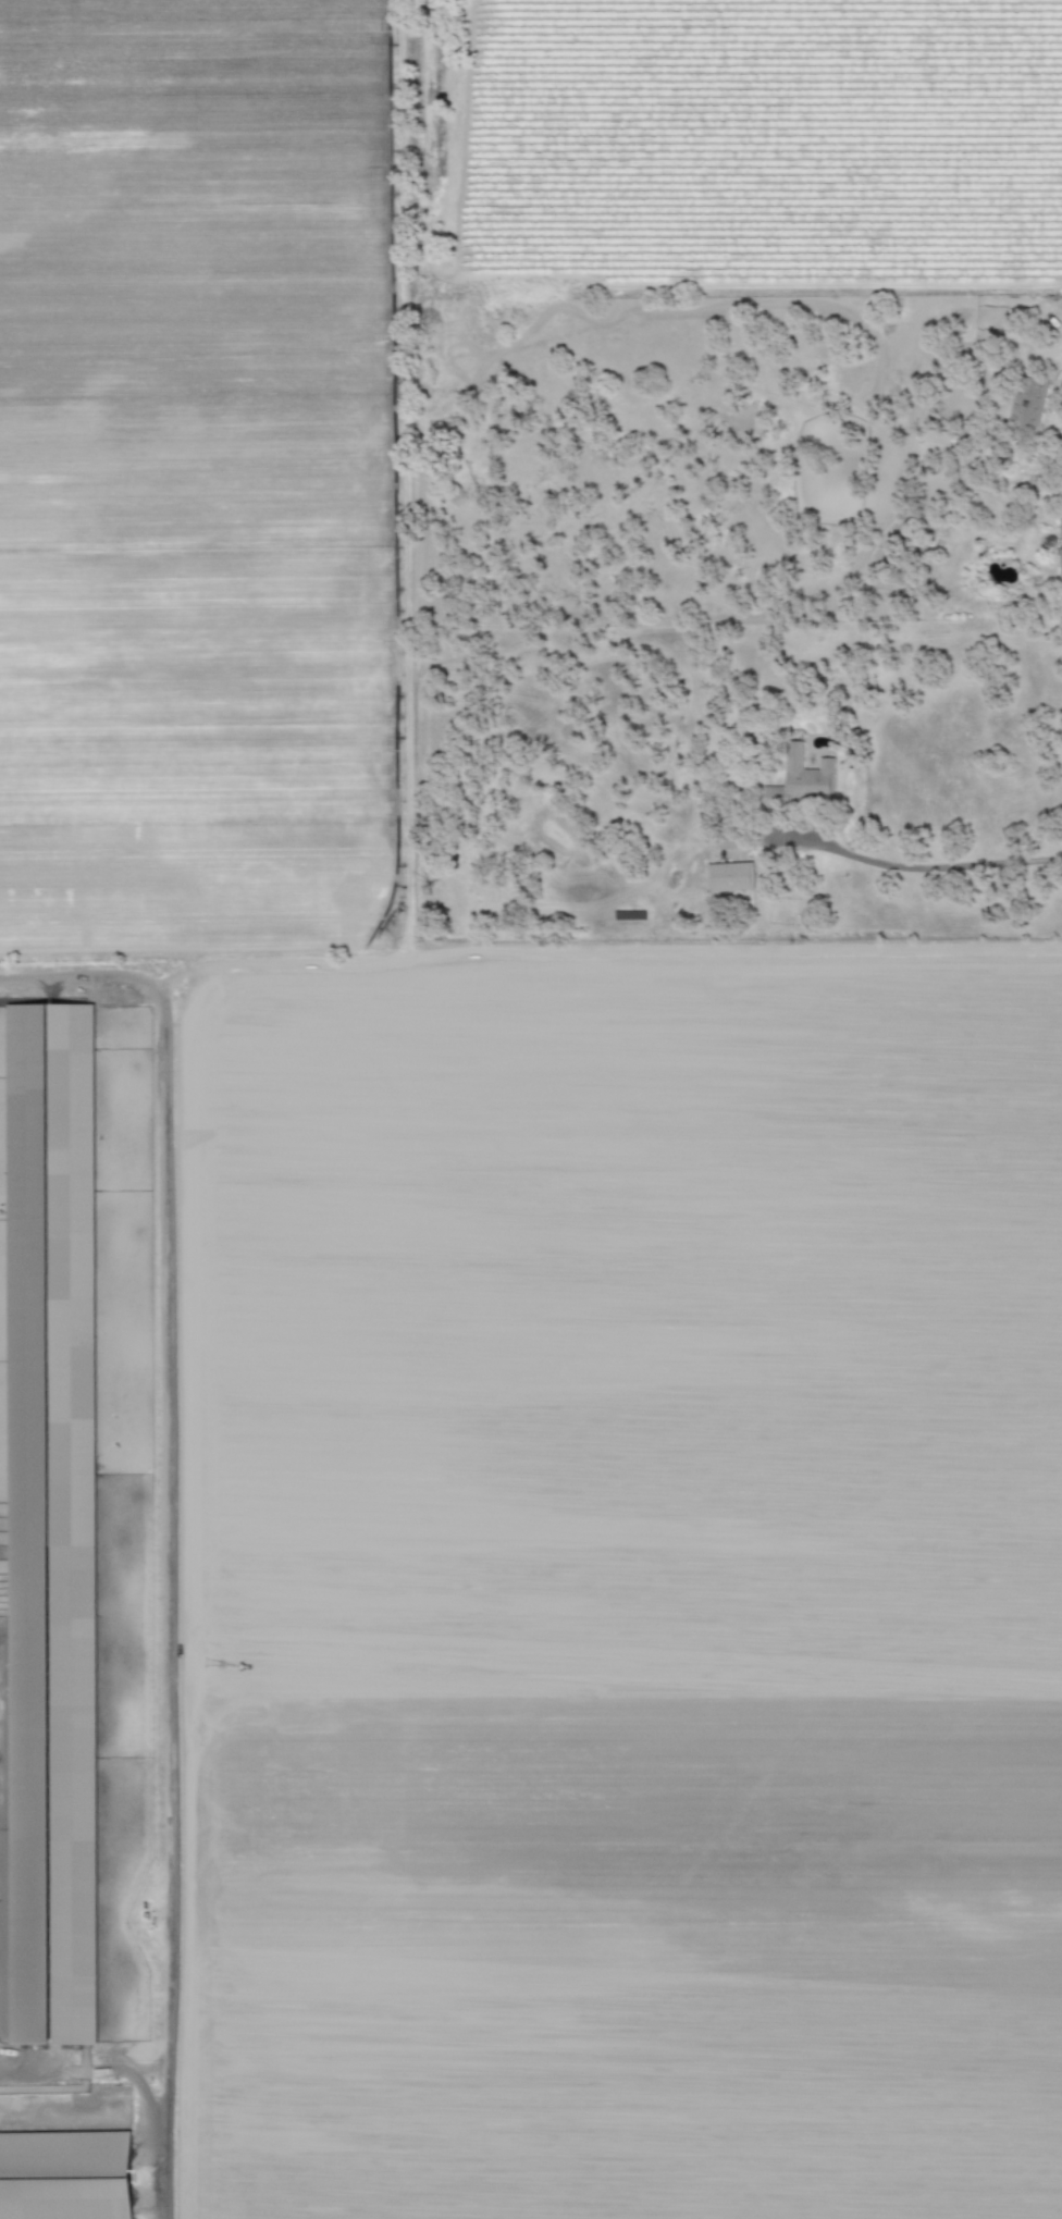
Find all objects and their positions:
building: (1027, 403)
building: (936, 443)
building: (1060, 525)
building: (1060, 563)
building: (801, 777)
road: (917, 867)
building: (729, 877)
building: (51, 1525)
road: (151, 2068)
building: (65, 2175)

